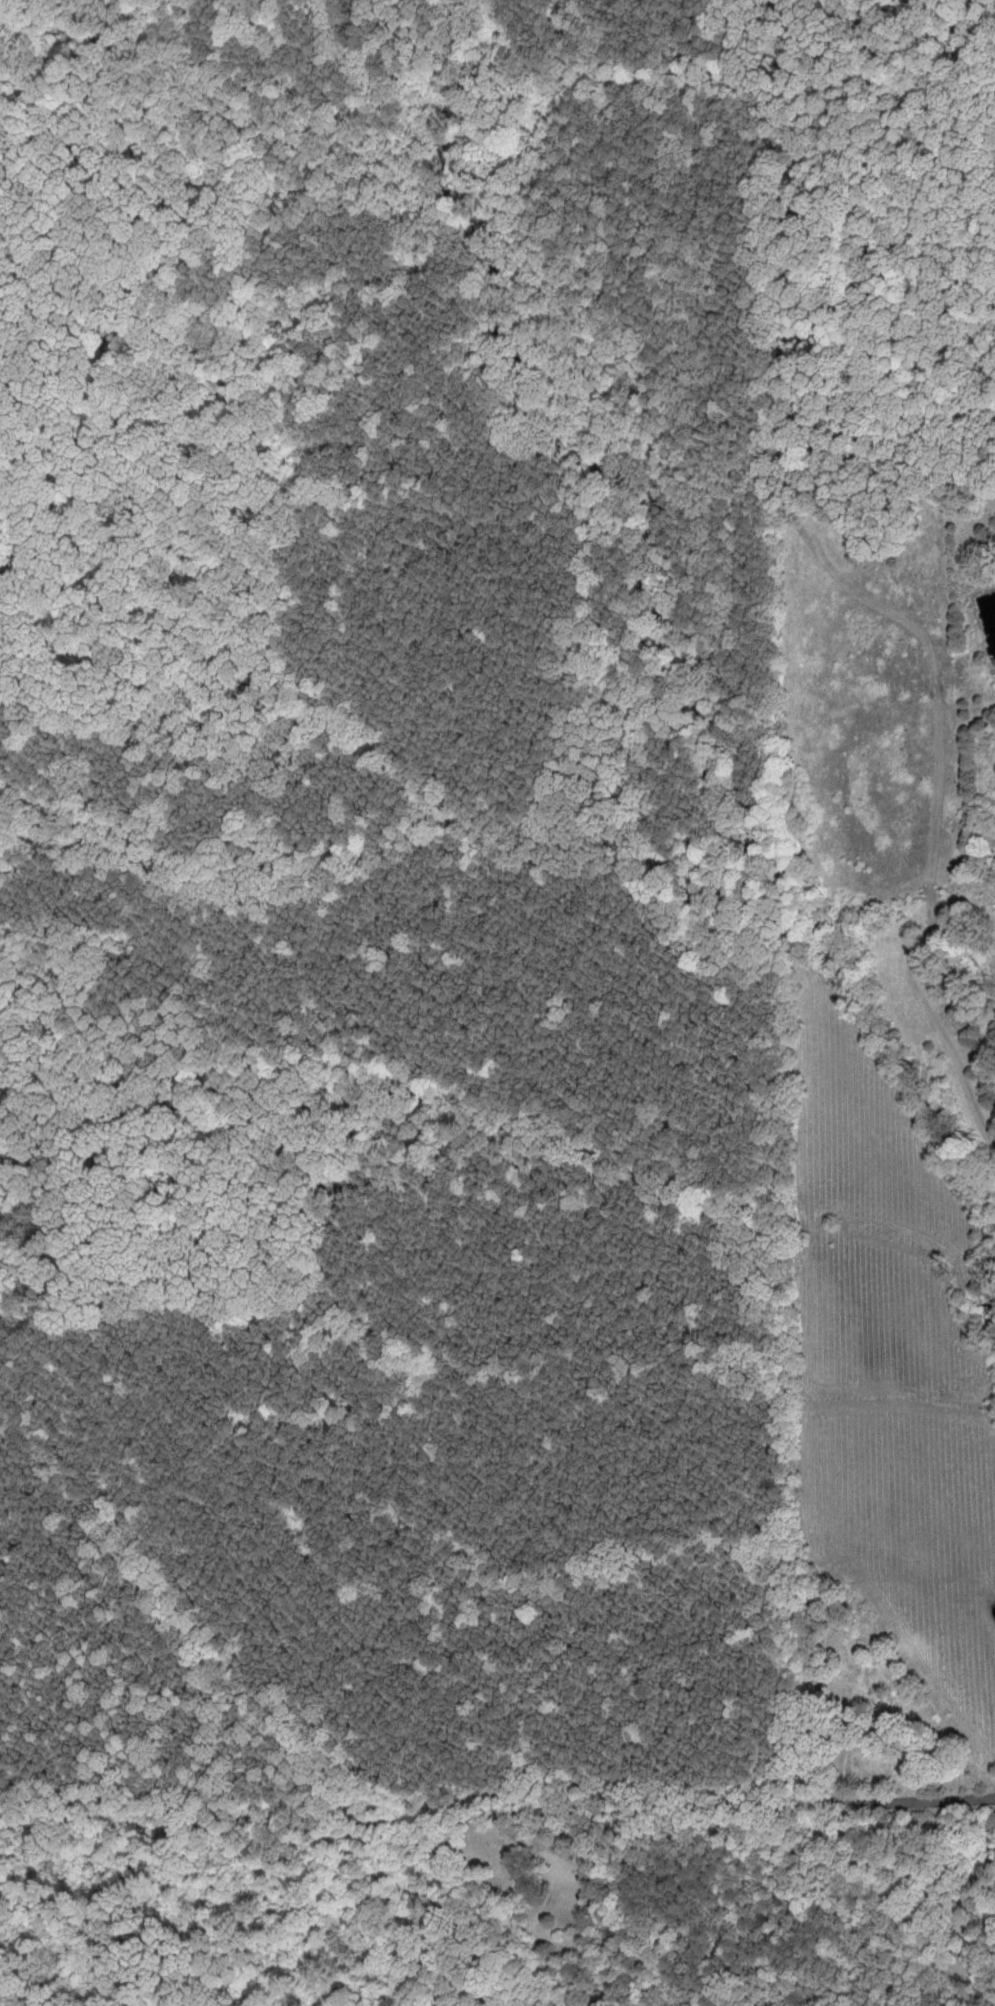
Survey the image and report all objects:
road: (948, 1801)

